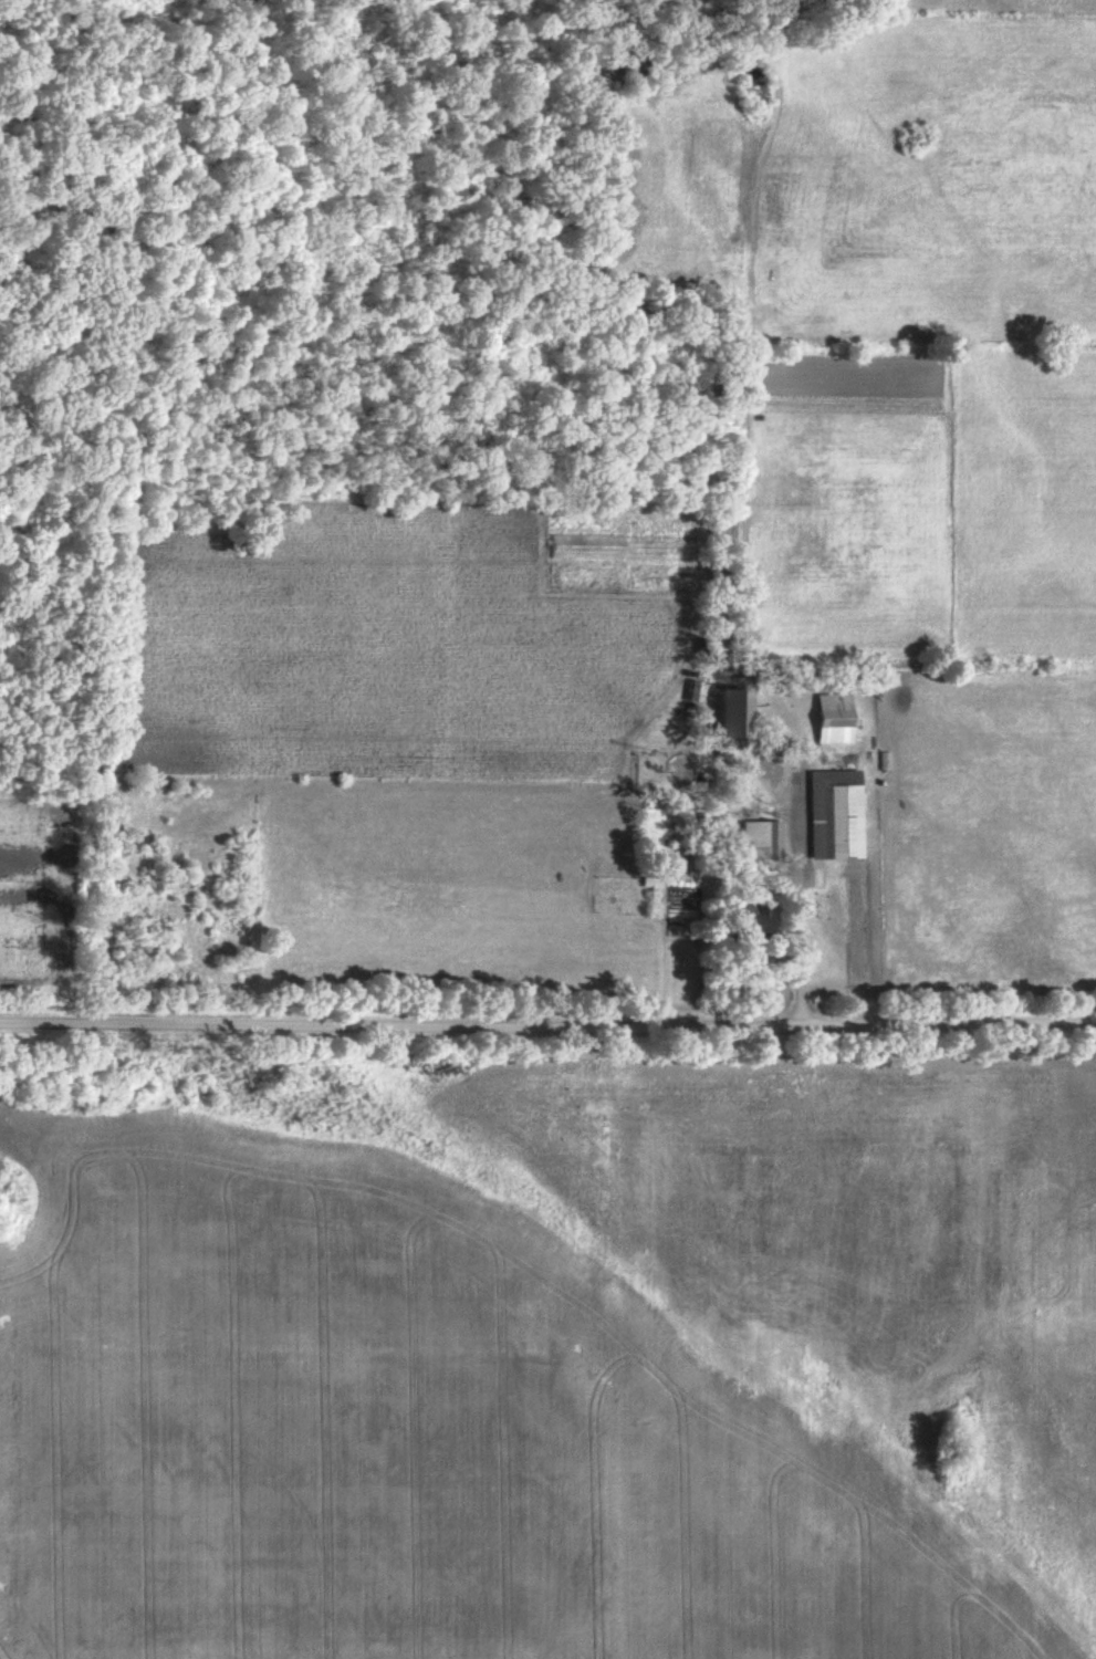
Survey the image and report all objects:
building: (586, 545)
building: (657, 576)
building: (869, 679)
building: (722, 711)
building: (831, 717)
building: (832, 813)
building: (760, 839)
building: (741, 919)
road: (547, 1020)

